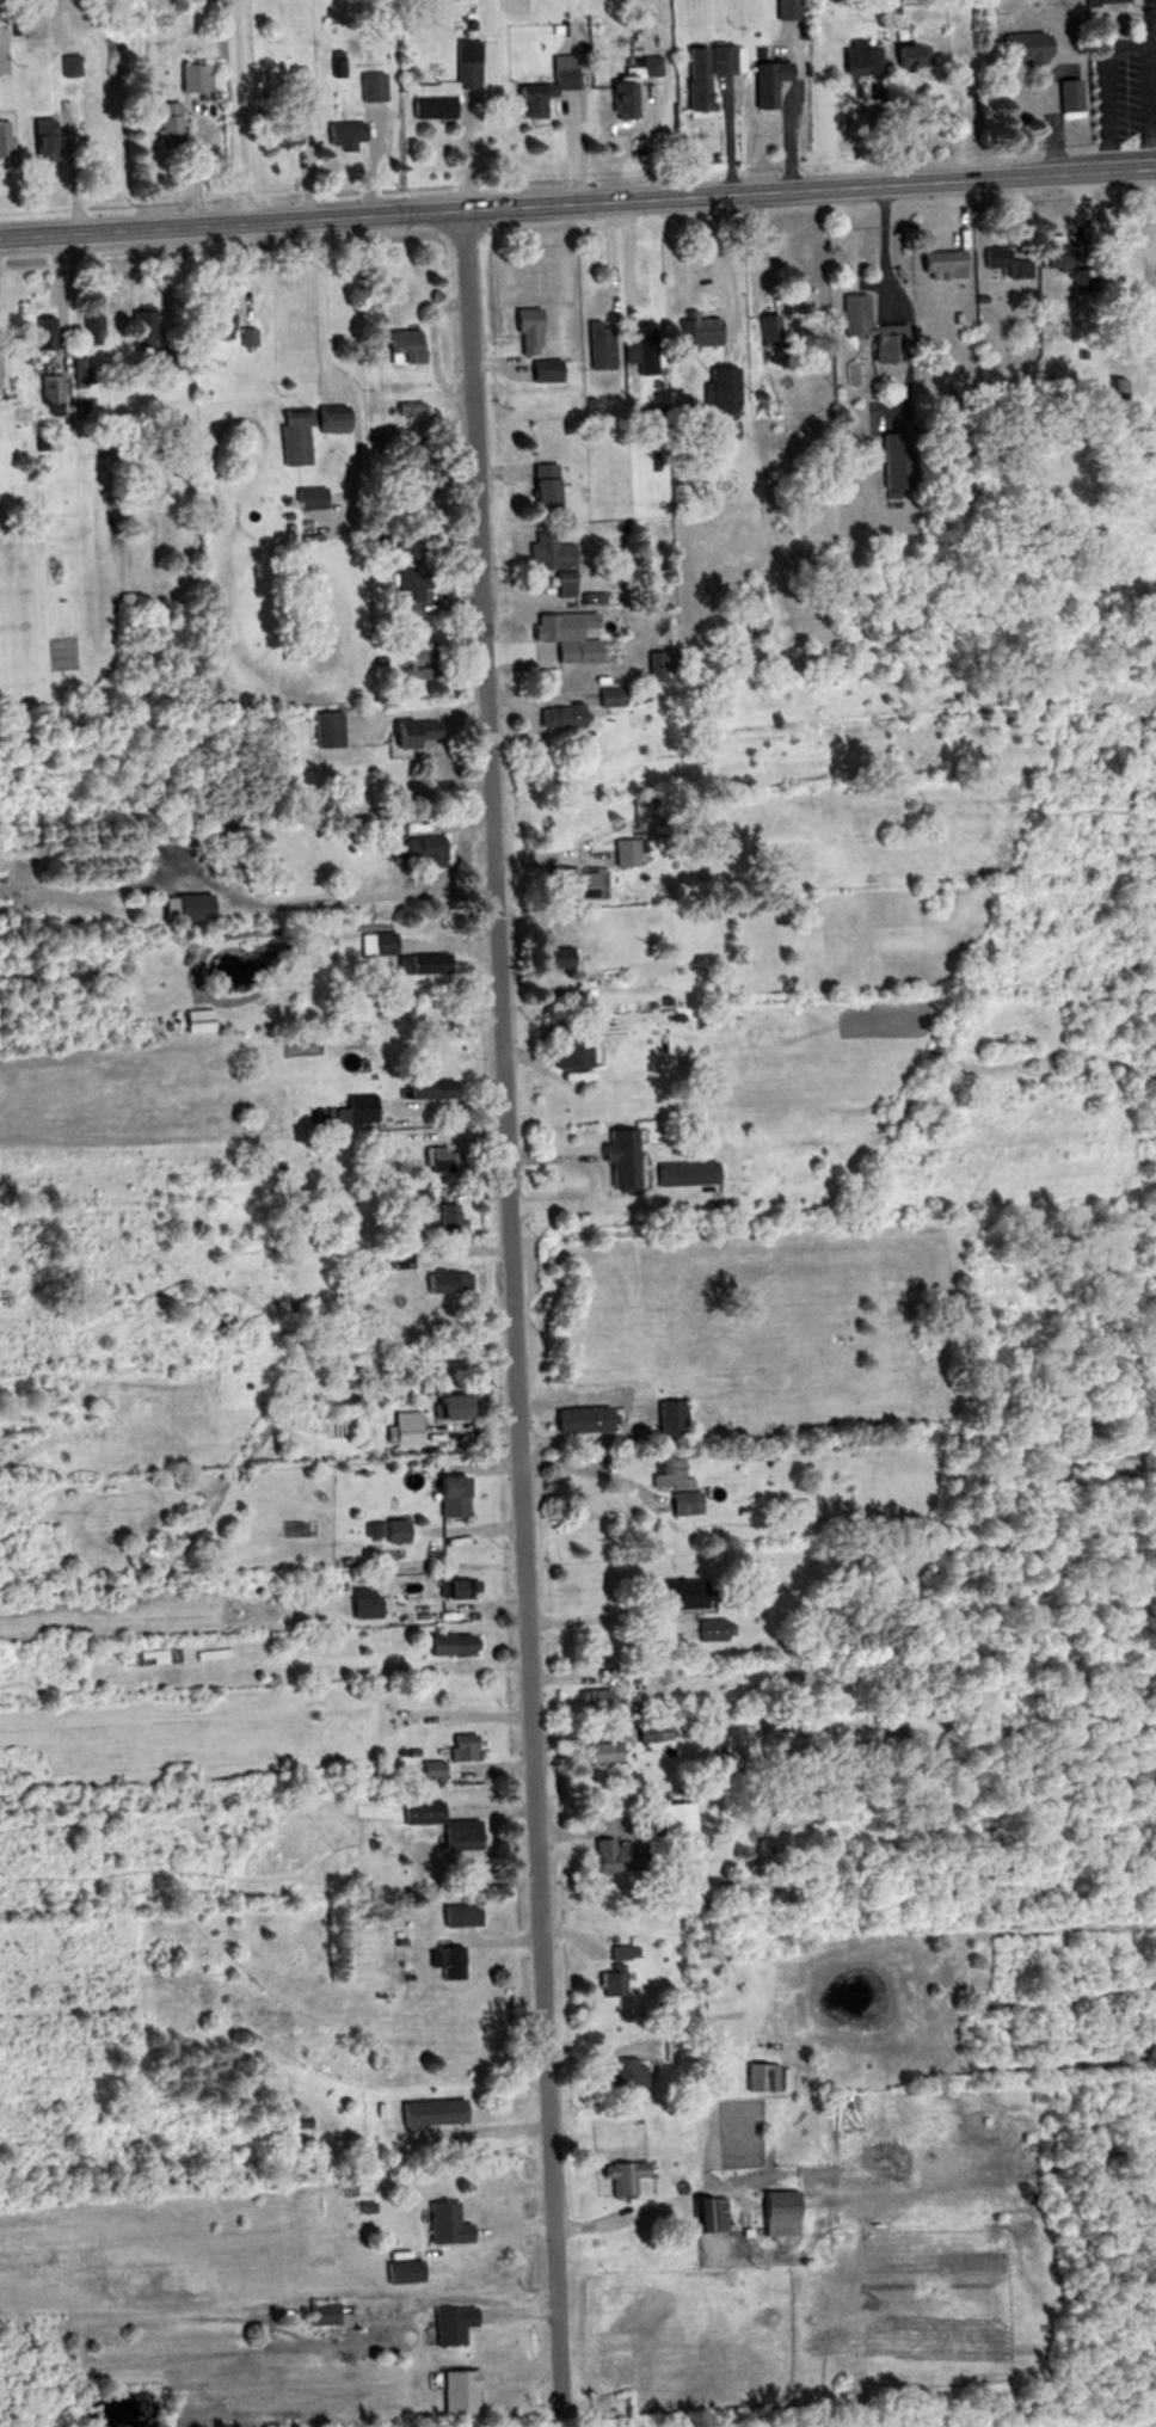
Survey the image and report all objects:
building: (783, 8)
building: (1022, 45)
building: (908, 56)
building: (859, 59)
building: (69, 62)
building: (650, 64)
building: (702, 72)
building: (191, 76)
building: (765, 81)
building: (445, 85)
building: (370, 86)
road: (1107, 86)
building: (541, 88)
road: (1152, 92)
building: (1059, 94)
road: (757, 96)
building: (616, 99)
road: (241, 112)
building: (166, 125)
building: (342, 134)
building: (1, 137)
building: (276, 137)
road: (69, 172)
road: (578, 204)
road: (881, 250)
building: (1052, 253)
building: (1003, 262)
building: (939, 263)
road: (325, 307)
building: (213, 318)
building: (90, 328)
building: (141, 328)
building: (697, 330)
building: (868, 330)
building: (525, 331)
building: (44, 333)
building: (245, 337)
building: (598, 344)
building: (400, 346)
building: (641, 348)
building: (165, 360)
building: (79, 367)
building: (1, 368)
building: (545, 370)
building: (1112, 387)
building: (717, 391)
building: (49, 393)
building: (330, 420)
building: (291, 437)
building: (893, 461)
building: (542, 484)
building: (306, 498)
building: (547, 552)
building: (408, 570)
building: (561, 588)
building: (596, 597)
building: (562, 634)
building: (424, 652)
building: (605, 696)
building: (557, 715)
building: (320, 729)
building: (408, 733)
building: (405, 841)
building: (622, 853)
building: (567, 884)
road: (358, 901)
building: (187, 907)
road: (245, 934)
building: (374, 944)
building: (547, 957)
building: (424, 963)
building: (193, 1020)
building: (566, 1047)
building: (423, 1092)
building: (353, 1108)
building: (441, 1157)
building: (617, 1157)
building: (682, 1172)
building: (414, 1198)
road: (591, 1208)
building: (447, 1216)
building: (439, 1282)
road: (509, 1319)
building: (450, 1406)
building: (665, 1417)
building: (577, 1419)
building: (666, 1470)
road: (586, 1473)
building: (448, 1497)
building: (682, 1503)
building: (454, 1589)
building: (678, 1595)
building: (359, 1606)
road: (454, 1608)
road: (604, 1609)
building: (709, 1630)
building: (447, 1643)
building: (594, 1700)
building: (460, 1747)
building: (598, 1752)
building: (439, 1824)
building: (611, 1856)
building: (459, 1915)
building: (448, 1964)
building: (609, 1984)
building: (619, 2075)
building: (756, 2077)
building: (426, 2113)
building: (620, 2177)
building: (706, 2214)
building: (773, 2214)
building: (443, 2224)
building: (400, 2271)
building: (319, 2314)
building: (448, 2324)
building: (456, 2391)

